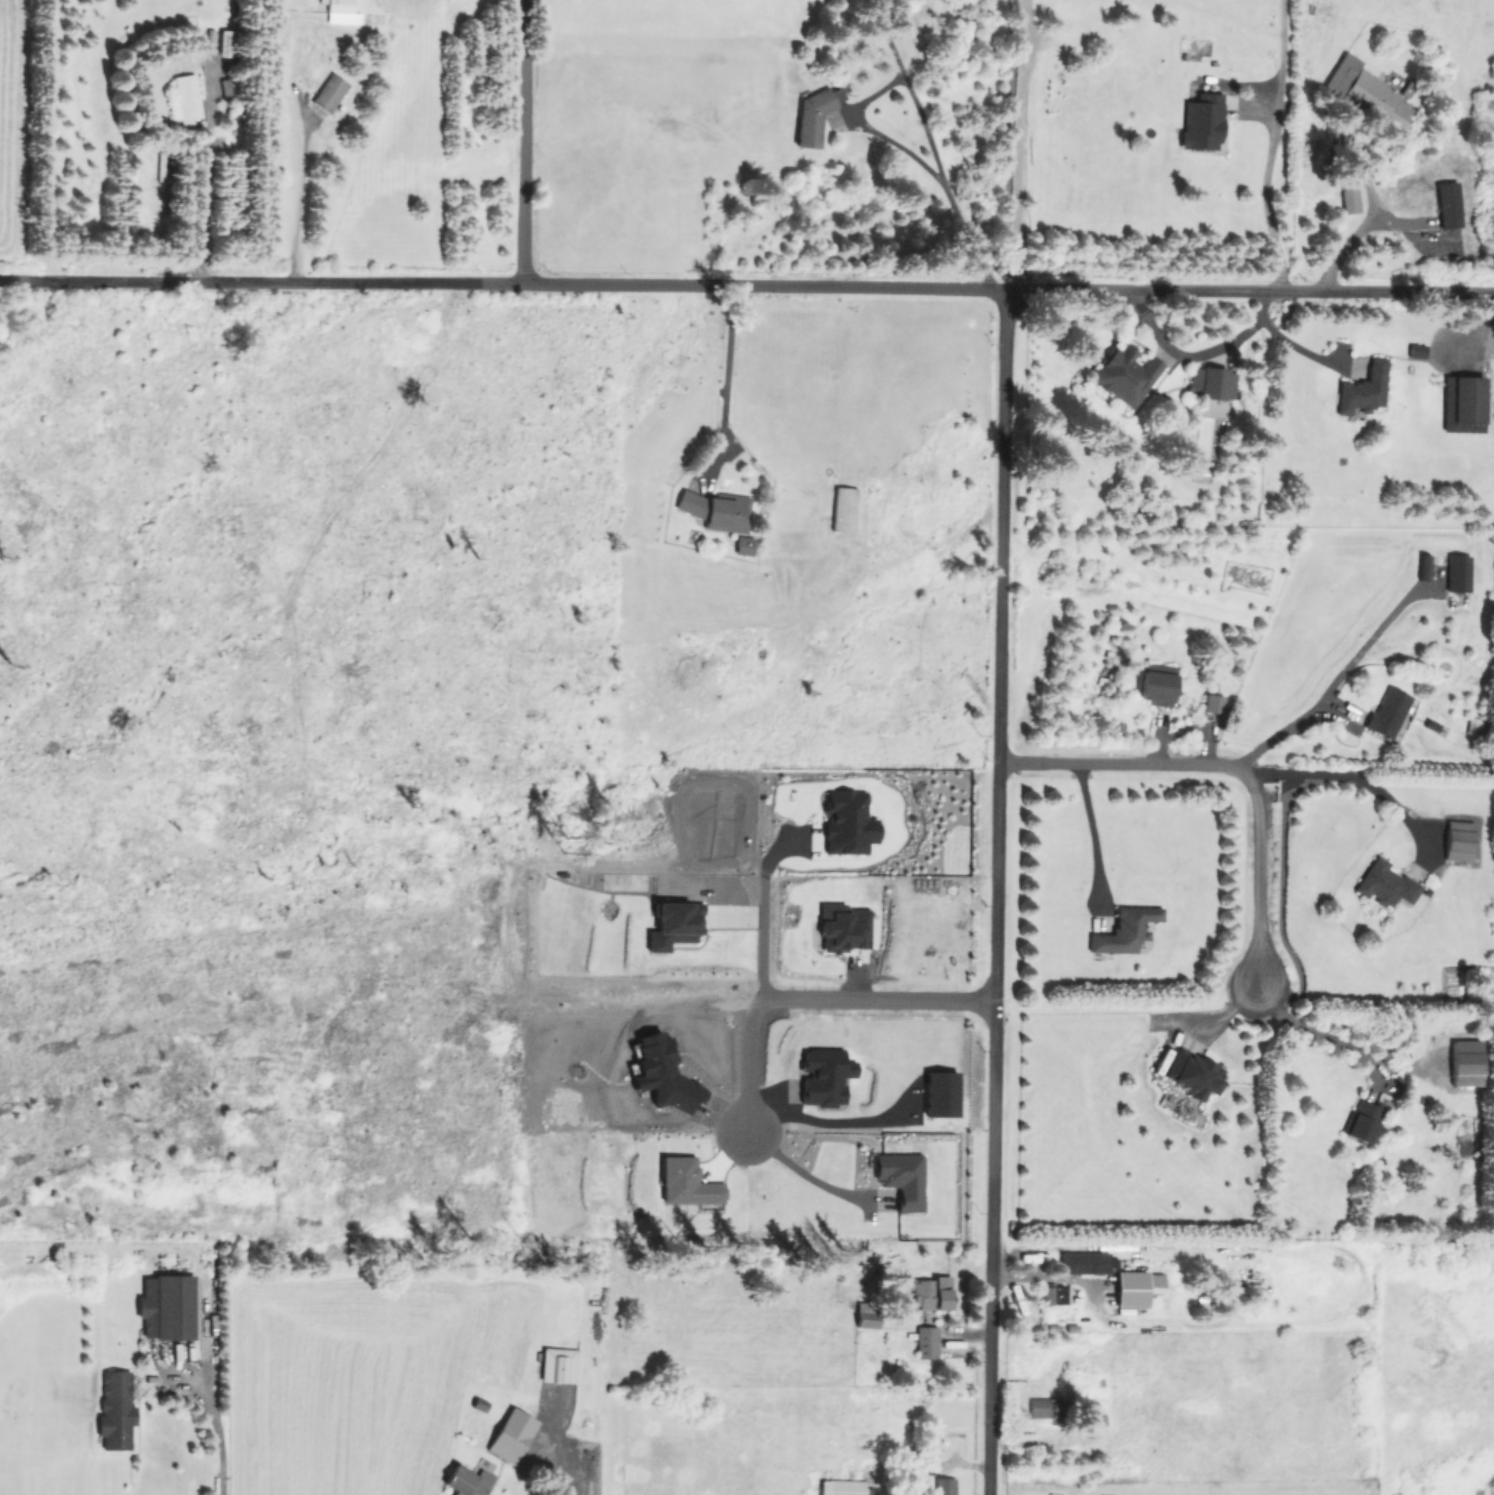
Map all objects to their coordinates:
building: (339, 11)
building: (207, 36)
building: (225, 43)
building: (228, 87)
road: (909, 88)
building: (328, 92)
building: (1368, 93)
building: (184, 99)
building: (812, 116)
building: (1201, 122)
road: (301, 140)
road: (522, 142)
road: (1270, 145)
road: (919, 159)
road: (206, 169)
building: (1348, 196)
road: (1363, 222)
road: (747, 285)
road: (1285, 339)
road: (1184, 354)
road: (724, 370)
building: (1124, 374)
building: (1210, 382)
building: (1362, 389)
building: (1462, 403)
building: (842, 509)
building: (716, 510)
building: (742, 545)
building: (1457, 573)
building: (1156, 687)
building: (1212, 703)
building: (1386, 713)
building: (1475, 727)
road: (1280, 734)
road: (1125, 763)
road: (1358, 778)
building: (847, 823)
building: (1457, 840)
road: (1092, 841)
road: (1260, 875)
building: (1385, 884)
road: (997, 891)
road: (762, 910)
building: (673, 925)
building: (843, 927)
building: (1124, 929)
road: (809, 997)
road: (1313, 1032)
building: (1465, 1063)
building: (1191, 1074)
building: (824, 1075)
building: (940, 1093)
building: (1361, 1121)
road: (819, 1122)
road: (803, 1173)
building: (900, 1179)
building: (685, 1182)
road: (1020, 1257)
building: (1083, 1262)
road: (1023, 1278)
road: (1075, 1279)
building: (1136, 1288)
building: (928, 1292)
building: (1054, 1295)
building: (166, 1307)
building: (925, 1342)
building: (557, 1364)
building: (1044, 1409)
building: (114, 1410)
road: (214, 1423)
building: (506, 1443)
road: (580, 1478)
building: (466, 1481)
building: (943, 1486)
building: (840, 1487)

